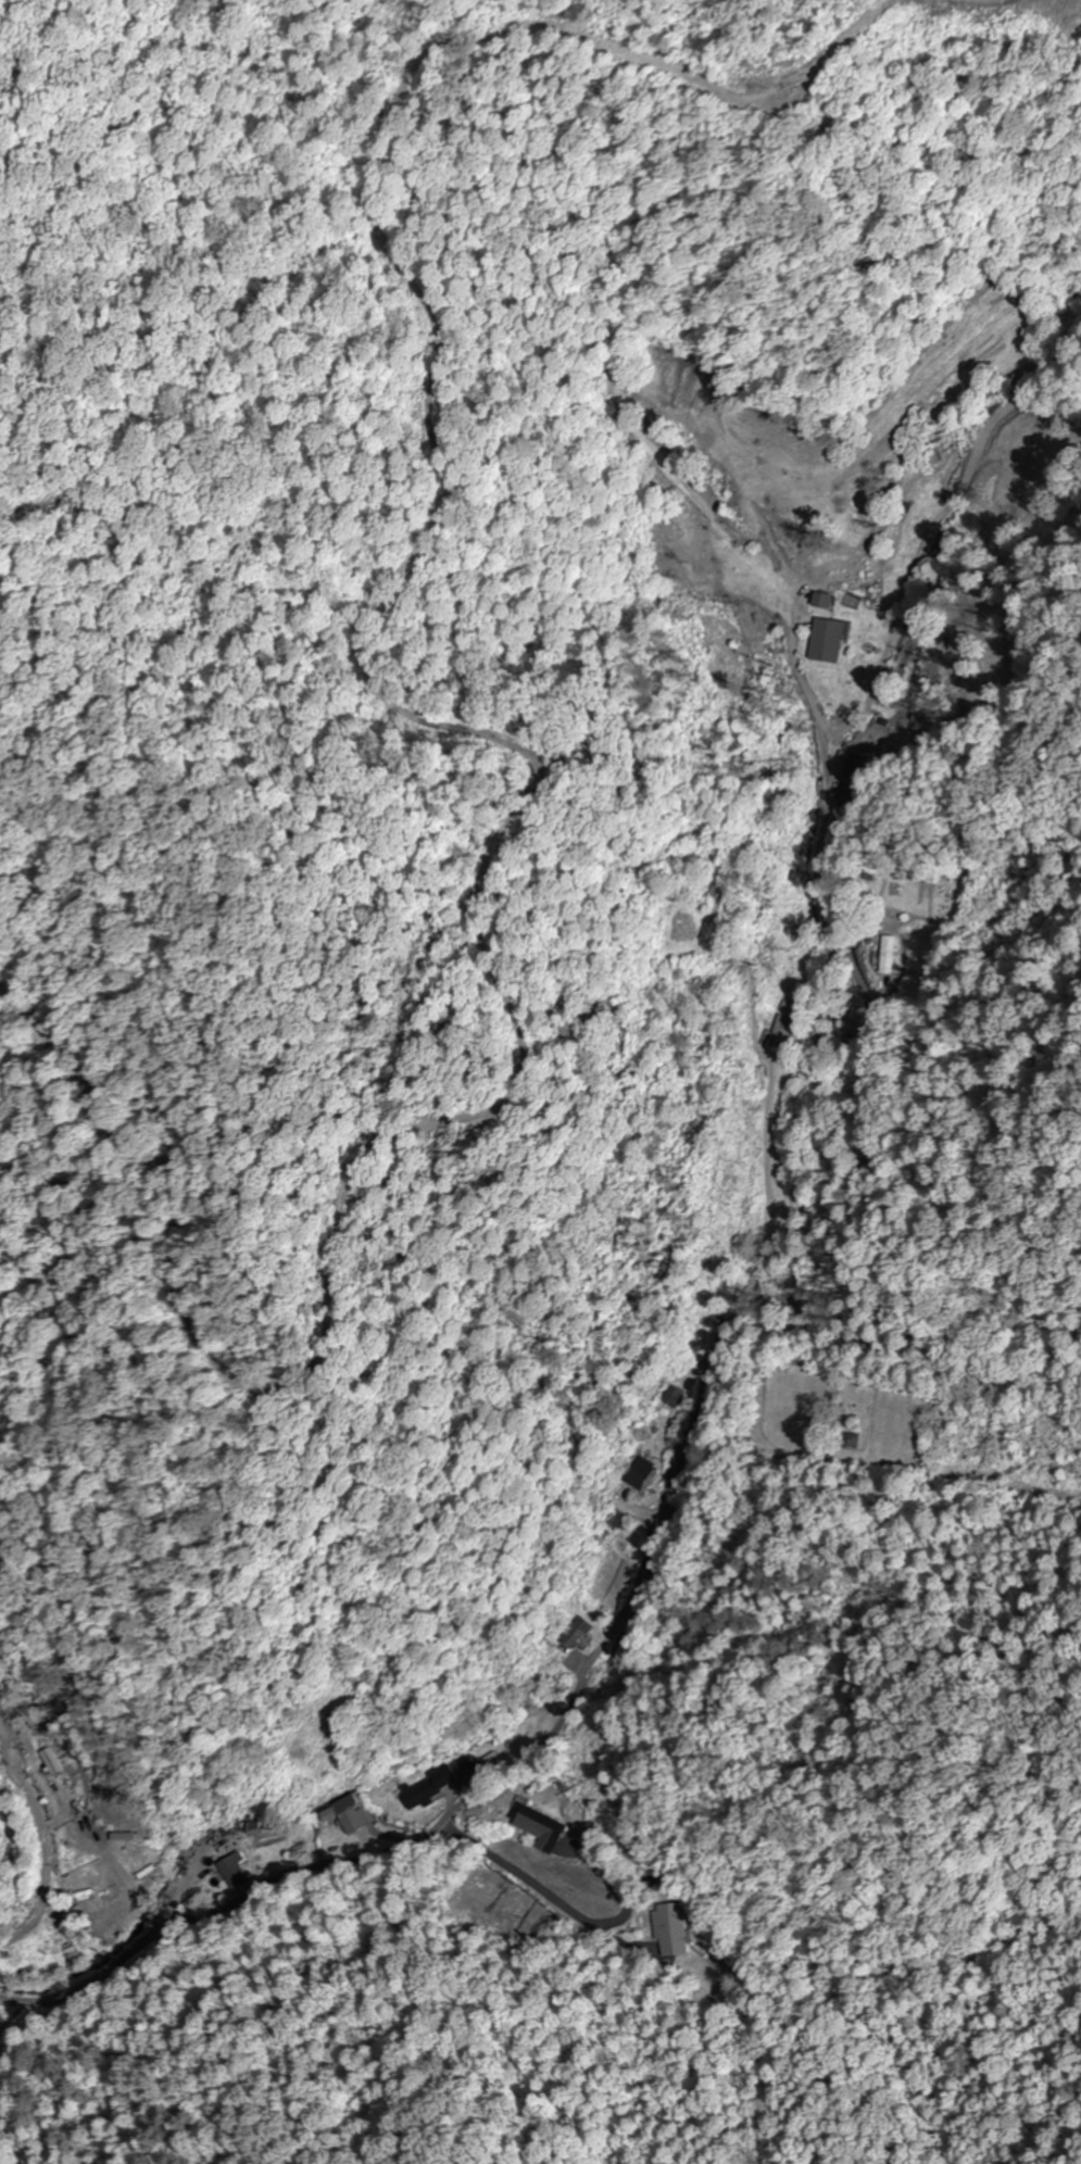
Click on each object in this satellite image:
building: (818, 602)
building: (824, 642)
building: (846, 765)
building: (890, 954)
building: (777, 1032)
road: (715, 1328)
building: (673, 1398)
building: (639, 1475)
building: (573, 1634)
building: (428, 1787)
building: (344, 1814)
building: (532, 1821)
building: (669, 1929)
building: (50, 1941)
building: (10, 1968)

